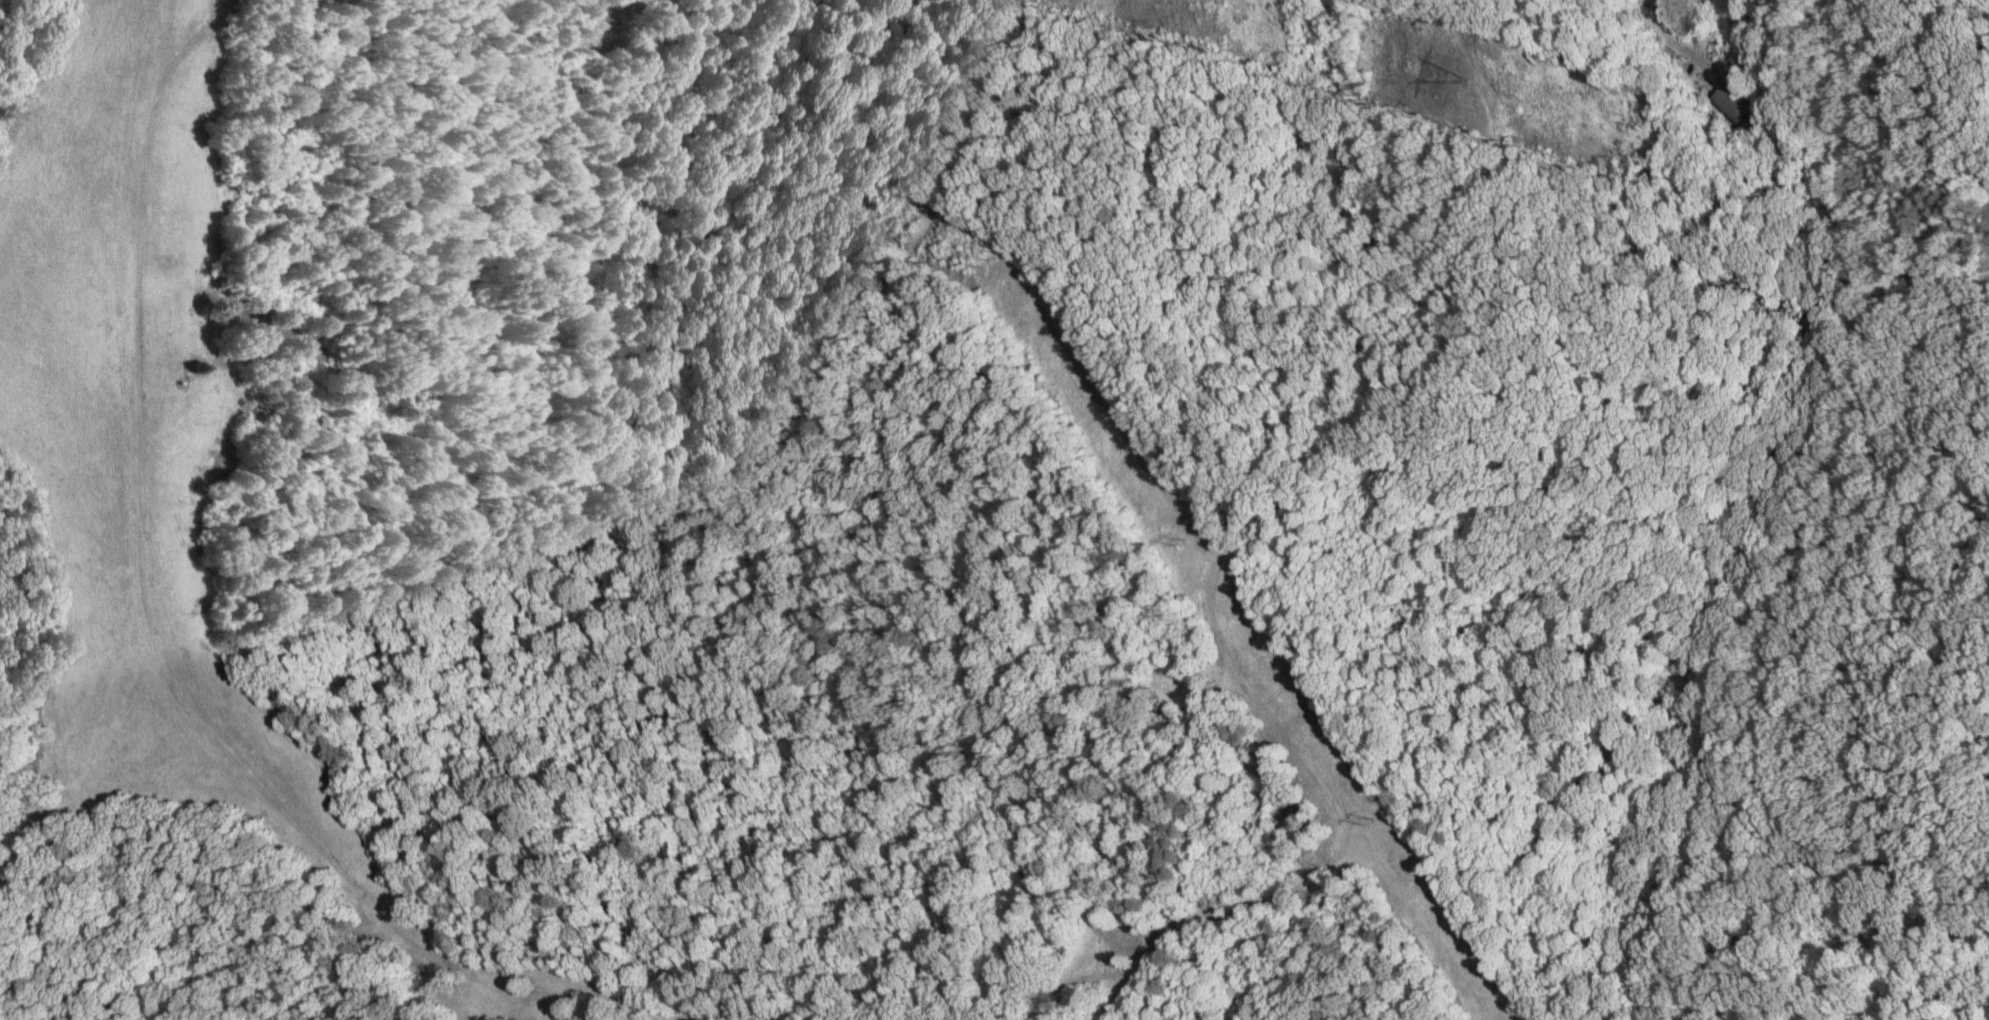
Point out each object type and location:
power tower: (1463, 76)
building: (1730, 105)

